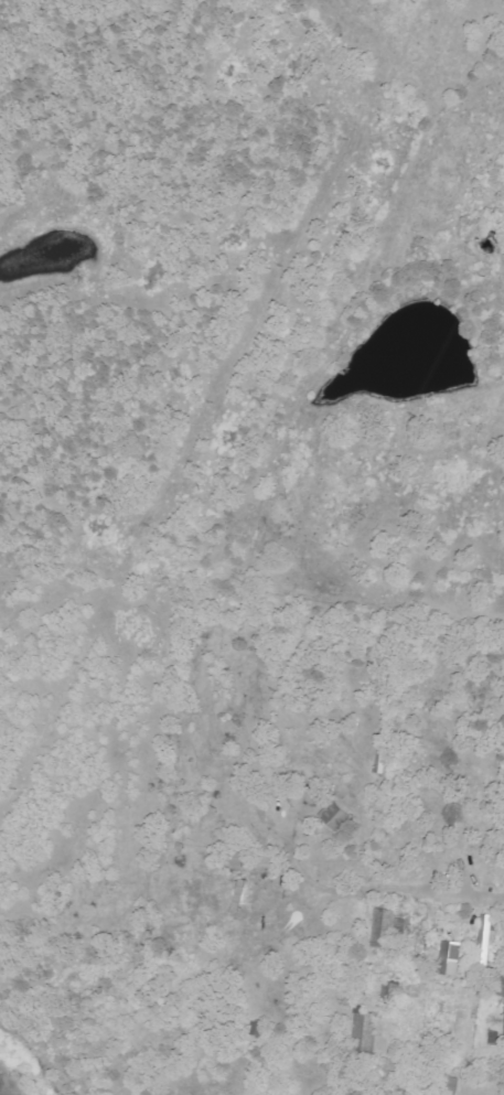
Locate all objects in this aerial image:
building: (337, 816)
road: (454, 893)
building: (382, 928)
building: (483, 940)
building: (449, 959)
building: (365, 1030)
road: (95, 1043)

